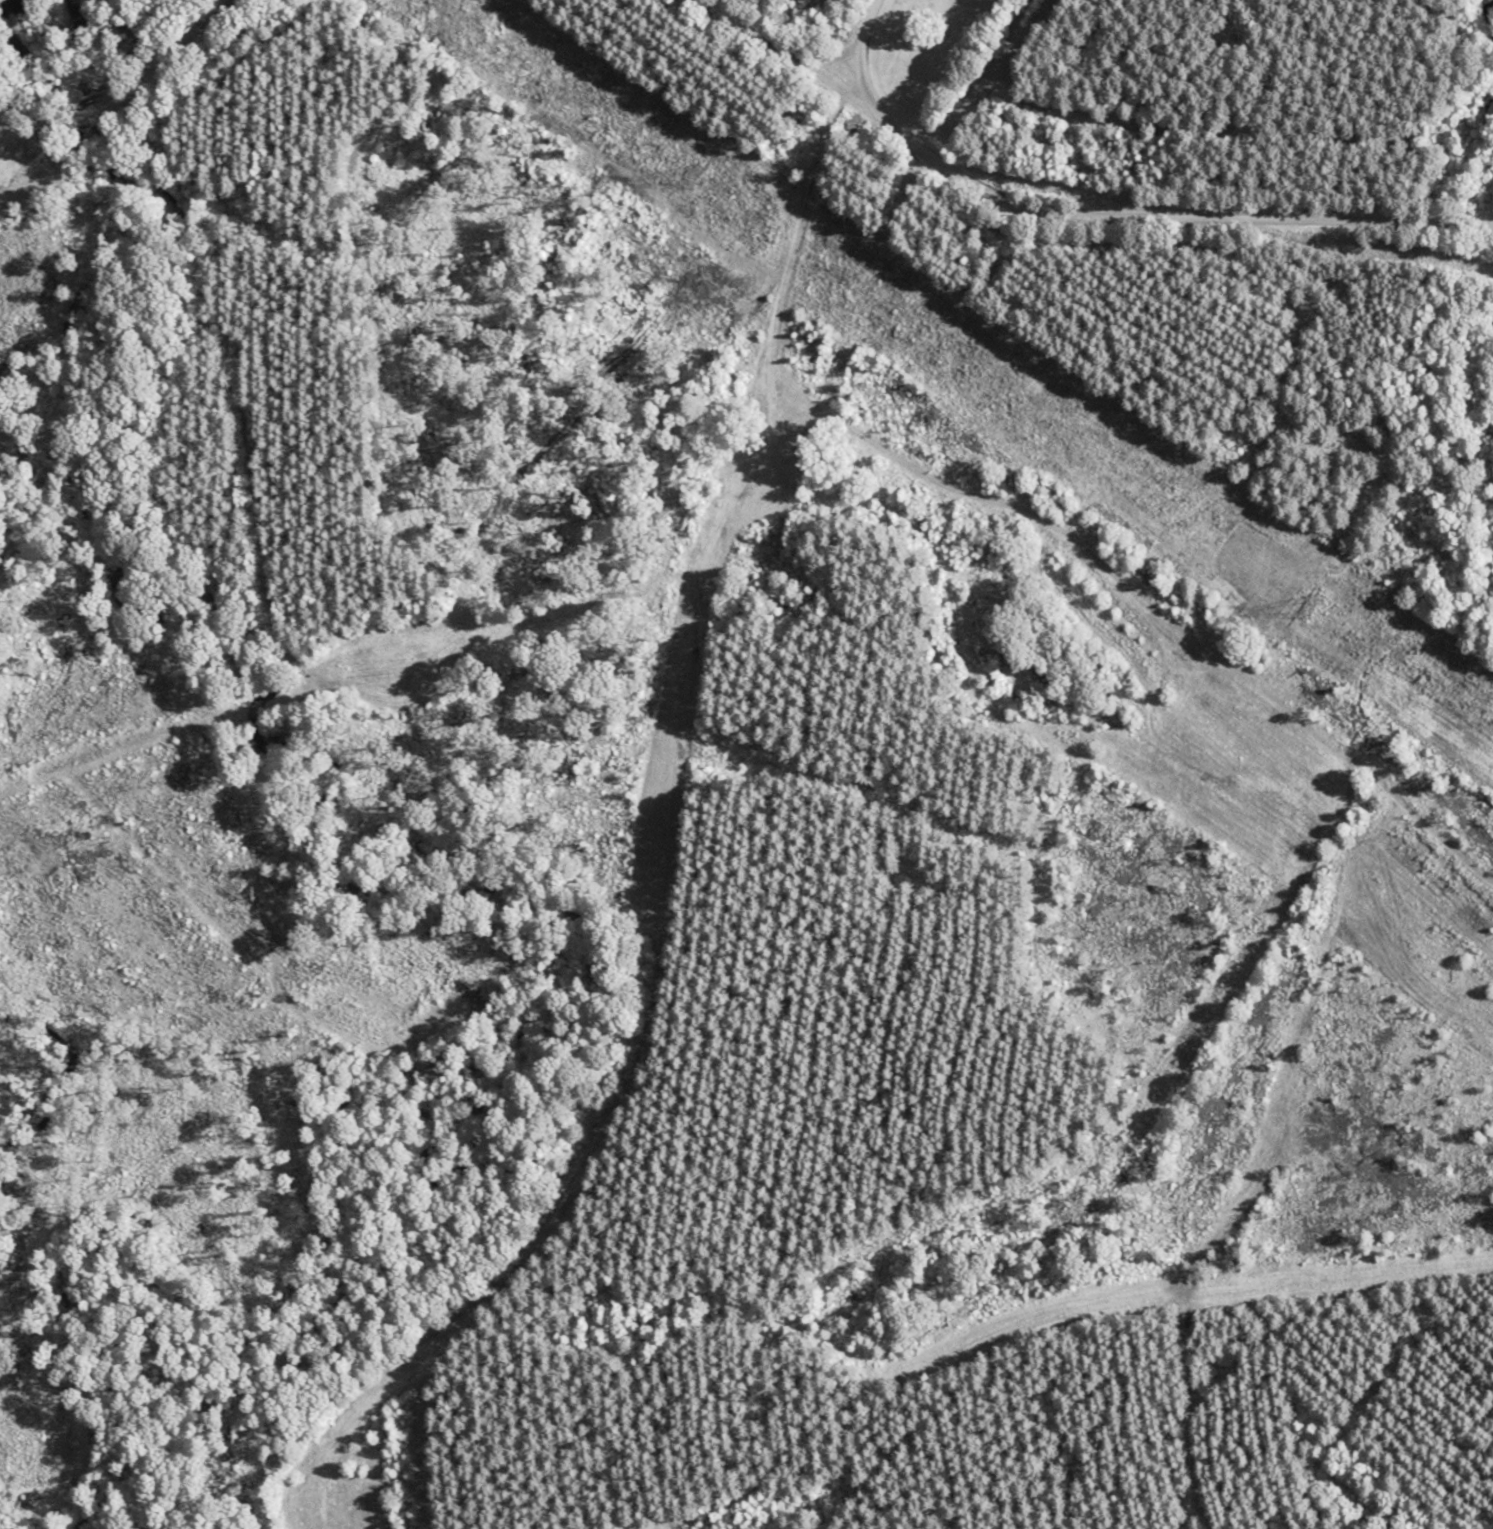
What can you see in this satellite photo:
road: (719, 49)
road: (812, 49)
road: (115, 106)
road: (774, 142)
power tower: (691, 177)
road: (1128, 201)
power tower: (1304, 607)
road: (591, 905)
road: (668, 1231)

